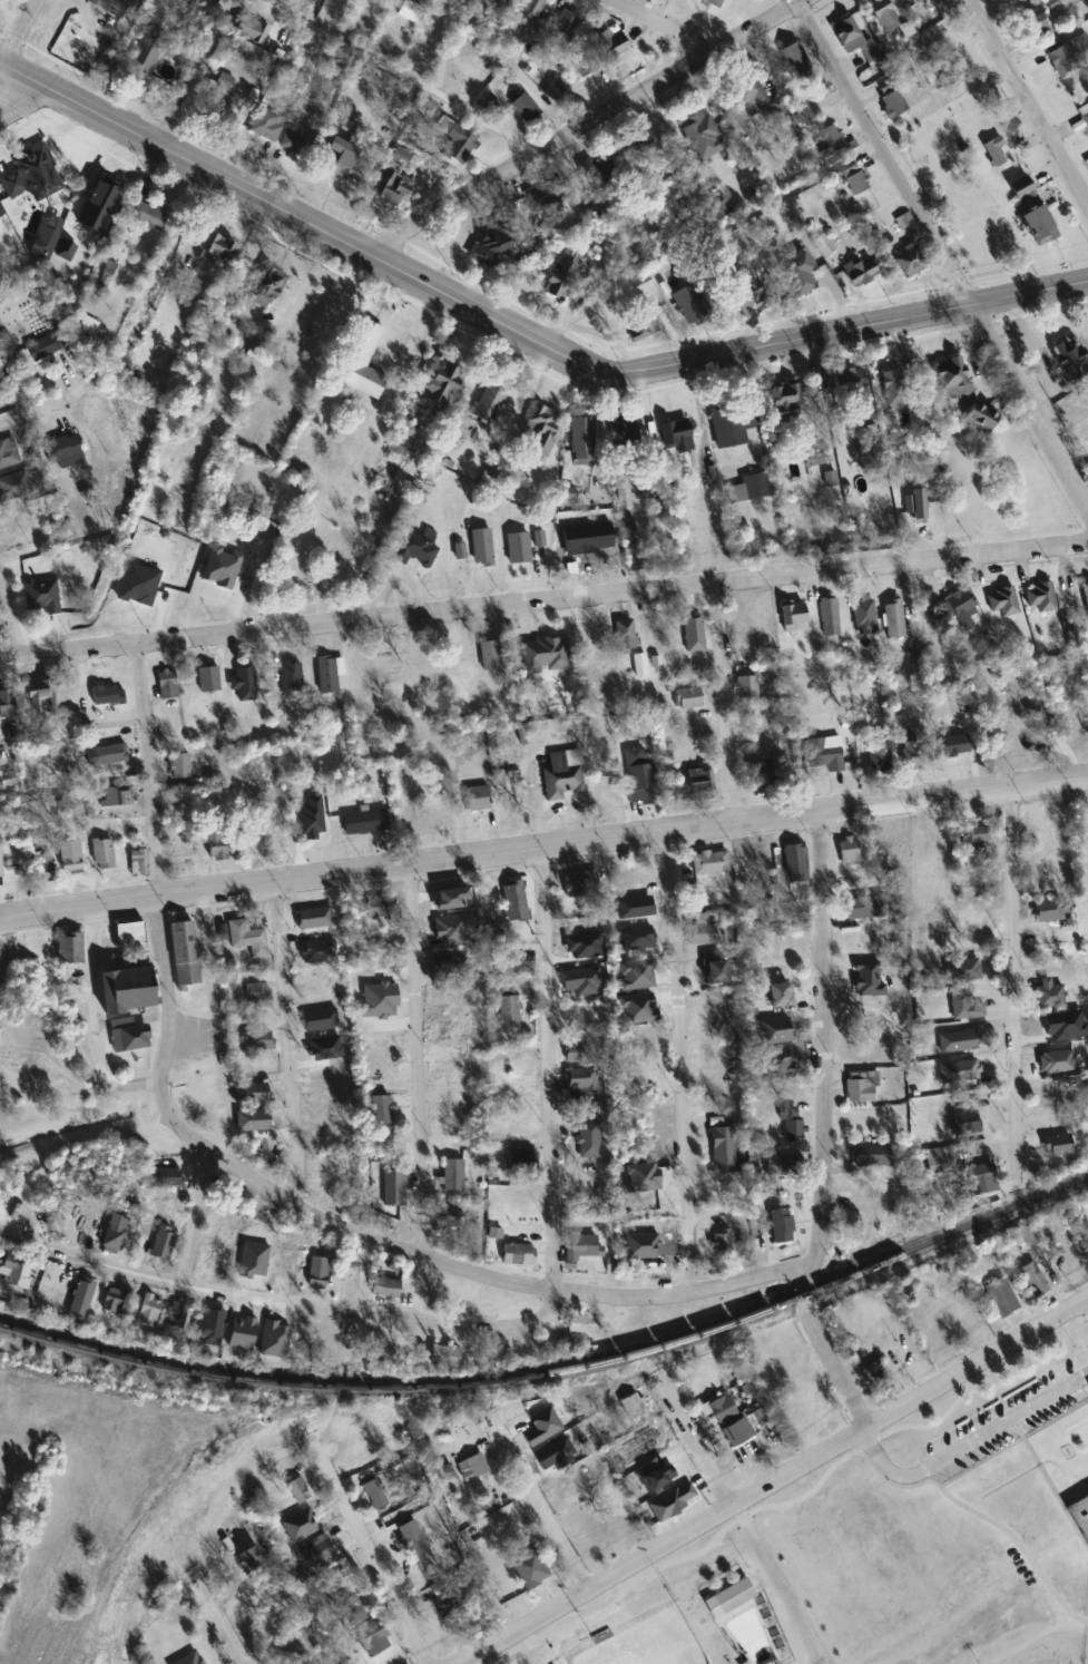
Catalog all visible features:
building: (917, 1)
building: (498, 3)
building: (710, 3)
building: (108, 6)
building: (532, 8)
building: (410, 11)
building: (882, 11)
building: (565, 25)
building: (1032, 25)
road: (663, 26)
road: (19, 30)
building: (854, 39)
building: (612, 42)
building: (148, 52)
building: (1069, 55)
building: (791, 58)
road: (194, 70)
road: (396, 71)
building: (931, 75)
building: (556, 88)
building: (748, 91)
road: (17, 96)
building: (223, 98)
building: (893, 102)
road: (1028, 102)
building: (526, 108)
building: (1085, 112)
building: (266, 125)
road: (589, 125)
building: (703, 136)
building: (639, 137)
building: (297, 139)
building: (833, 141)
building: (459, 144)
building: (343, 157)
building: (36, 167)
building: (599, 173)
building: (855, 180)
building: (394, 188)
building: (1025, 194)
building: (147, 215)
building: (1038, 223)
building: (46, 243)
building: (824, 244)
building: (494, 245)
building: (216, 248)
road: (941, 251)
building: (909, 261)
building: (798, 272)
building: (861, 272)
building: (106, 274)
building: (749, 285)
building: (266, 287)
building: (557, 287)
building: (689, 304)
building: (87, 326)
road: (519, 327)
building: (643, 327)
building: (42, 348)
building: (256, 349)
building: (1070, 358)
building: (362, 361)
building: (953, 379)
building: (850, 380)
building: (443, 385)
building: (894, 389)
building: (785, 402)
building: (489, 403)
road: (57, 407)
building: (980, 415)
building: (98, 419)
building: (733, 422)
building: (541, 430)
building: (626, 430)
building: (677, 435)
building: (582, 441)
building: (63, 448)
building: (8, 454)
building: (820, 459)
road: (703, 471)
building: (756, 486)
building: (570, 493)
building: (915, 503)
road: (364, 546)
building: (414, 549)
building: (212, 574)
building: (1086, 594)
building: (42, 595)
building: (1040, 597)
road: (543, 601)
building: (1002, 601)
building: (960, 609)
building: (793, 617)
building: (829, 617)
building: (893, 618)
building: (751, 620)
road: (12, 621)
building: (625, 635)
building: (463, 654)
building: (490, 655)
building: (326, 674)
building: (300, 676)
building: (208, 679)
building: (252, 681)
building: (167, 685)
building: (746, 687)
building: (108, 696)
building: (42, 697)
building: (688, 698)
road: (722, 703)
building: (8, 704)
building: (1078, 731)
building: (953, 746)
building: (825, 753)
building: (106, 755)
building: (915, 755)
building: (880, 756)
building: (179, 765)
building: (770, 775)
building: (638, 776)
building: (560, 779)
building: (700, 782)
building: (117, 795)
building: (477, 799)
building: (439, 814)
building: (364, 822)
building: (974, 834)
building: (217, 845)
road: (543, 845)
building: (849, 852)
building: (102, 853)
building: (71, 857)
building: (794, 859)
building: (139, 862)
building: (0, 863)
building: (709, 863)
building: (46, 867)
building: (1050, 879)
building: (851, 882)
building: (581, 884)
building: (514, 899)
building: (444, 904)
building: (381, 907)
building: (865, 908)
building: (1049, 913)
building: (704, 932)
building: (496, 934)
building: (131, 936)
building: (246, 938)
building: (69, 948)
building: (575, 950)
building: (305, 952)
building: (184, 953)
building: (521, 968)
road: (1010, 968)
building: (448, 969)
building: (715, 971)
building: (868, 979)
building: (305, 983)
building: (585, 986)
building: (127, 989)
building: (257, 992)
building: (1050, 993)
building: (781, 995)
building: (962, 1006)
building: (508, 1011)
building: (321, 1015)
road: (91, 1019)
building: (128, 1035)
building: (258, 1040)
building: (958, 1041)
road: (286, 1044)
road: (822, 1044)
building: (788, 1045)
building: (578, 1053)
road: (416, 1060)
building: (1057, 1061)
road: (679, 1063)
road: (547, 1066)
building: (959, 1071)
building: (19, 1077)
building: (582, 1078)
building: (325, 1079)
building: (860, 1088)
building: (1057, 1098)
building: (382, 1110)
building: (966, 1123)
building: (792, 1125)
building: (588, 1139)
building: (1059, 1146)
building: (723, 1147)
building: (871, 1155)
building: (521, 1159)
building: (935, 1163)
building: (780, 1165)
road: (253, 1176)
building: (453, 1176)
building: (166, 1177)
building: (321, 1178)
building: (980, 1180)
building: (166, 1206)
road: (198, 1210)
building: (449, 1217)
building: (72, 1226)
building: (782, 1226)
building: (115, 1234)
building: (721, 1242)
building: (163, 1243)
building: (580, 1249)
building: (517, 1254)
building: (213, 1263)
building: (13, 1272)
building: (318, 1273)
building: (385, 1289)
road: (1086, 1298)
building: (1002, 1299)
building: (81, 1300)
building: (116, 1301)
road: (282, 1301)
road: (1086, 1301)
building: (149, 1311)
building: (176, 1314)
road: (1084, 1314)
building: (213, 1322)
building: (578, 1324)
building: (242, 1332)
building: (281, 1335)
building: (321, 1348)
road: (822, 1352)
building: (445, 1357)
railway: (558, 1368)
building: (876, 1377)
road: (981, 1383)
building: (633, 1406)
building: (722, 1409)
building: (817, 1415)
parking lot: (999, 1421)
building: (738, 1432)
road: (694, 1437)
road: (864, 1443)
building: (648, 1446)
road: (967, 1446)
building: (353, 1448)
building: (474, 1468)
railway: (185, 1474)
road: (771, 1480)
building: (568, 1488)
building: (298, 1490)
road: (806, 1491)
building: (373, 1495)
road: (1060, 1504)
road: (539, 1507)
building: (308, 1515)
building: (1079, 1516)
building: (412, 1538)
building: (317, 1552)
road: (372, 1559)
building: (249, 1560)
building: (530, 1569)
road: (778, 1583)
building: (727, 1595)
park: (812, 1596)
building: (453, 1599)
road: (220, 1626)
building: (373, 1638)
park: (646, 1642)
park: (1080, 1663)

